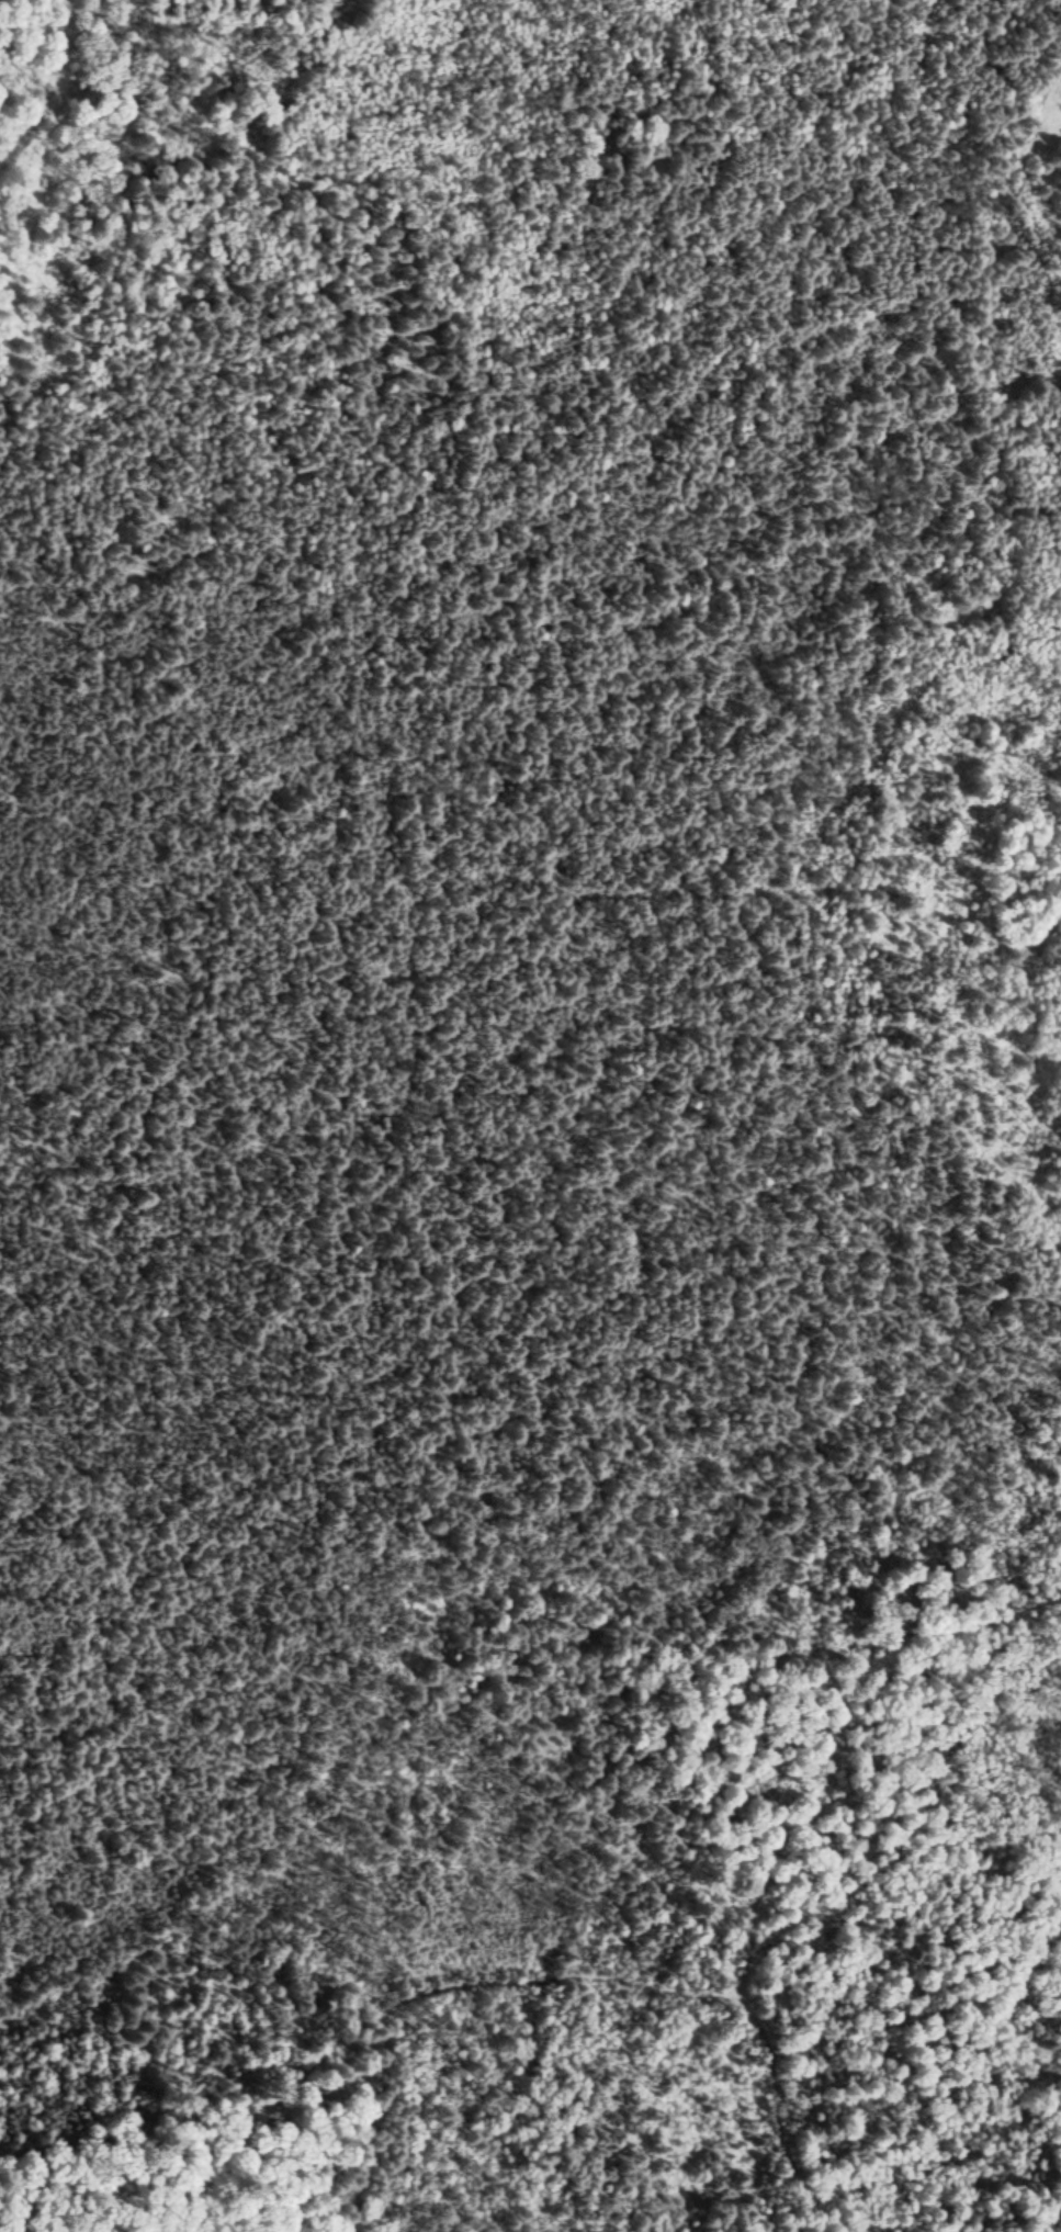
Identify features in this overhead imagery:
road: (787, 620)

